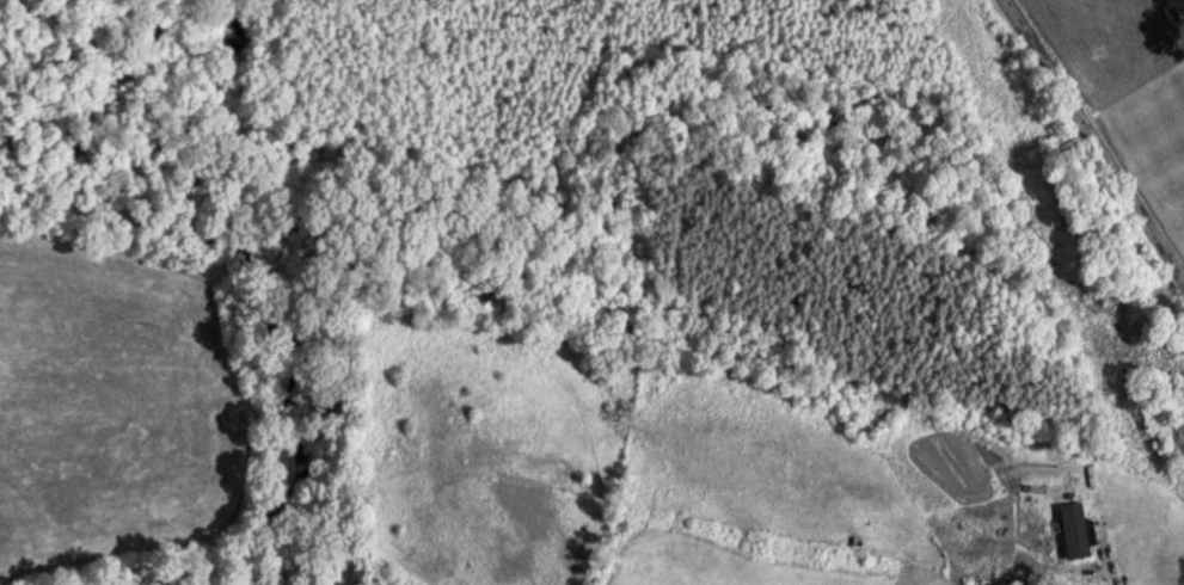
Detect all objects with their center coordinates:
road: (1094, 138)

